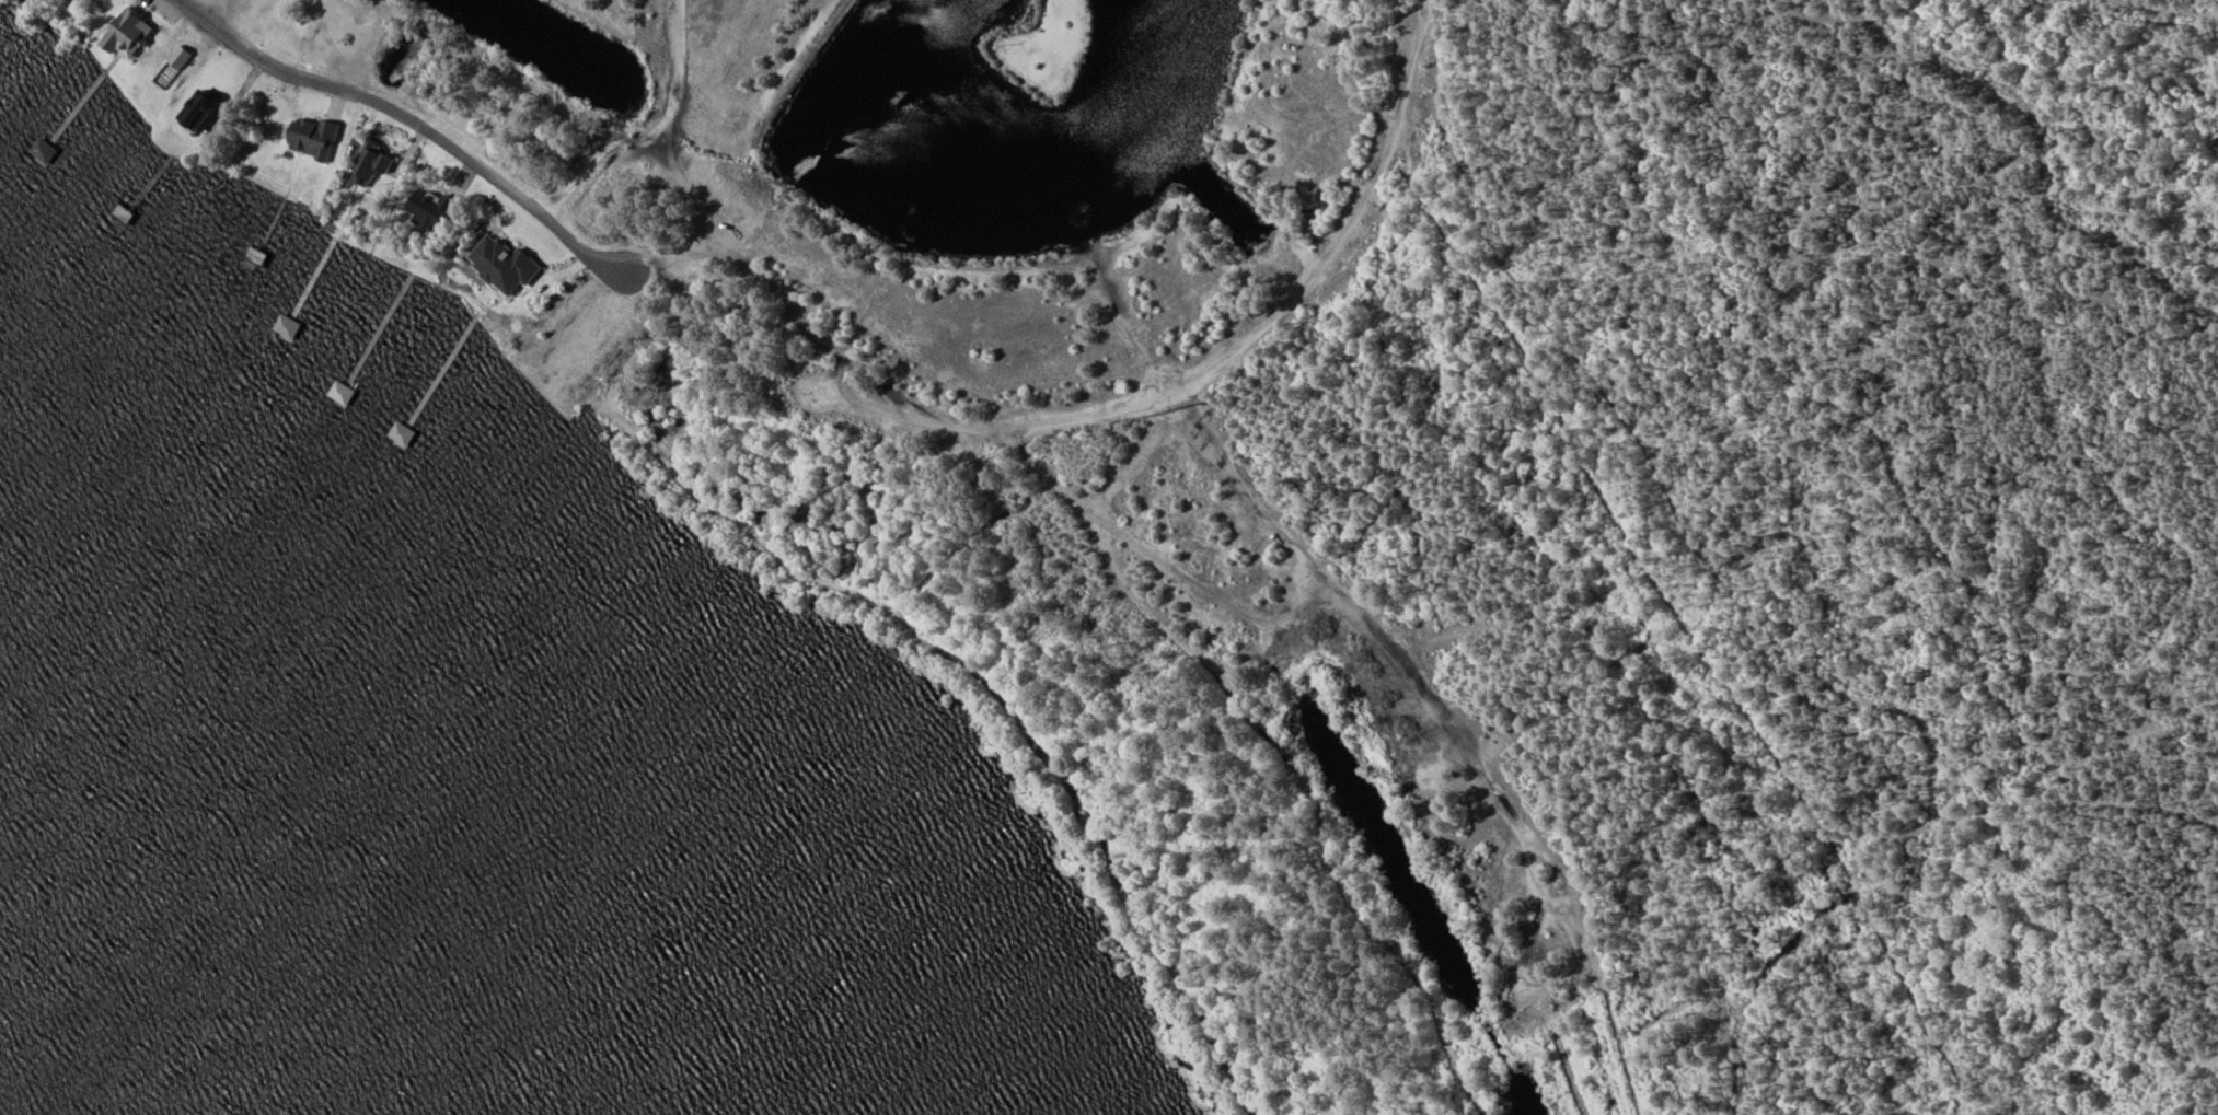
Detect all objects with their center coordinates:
building: (126, 34)
building: (198, 113)
road: (411, 120)
building: (311, 138)

